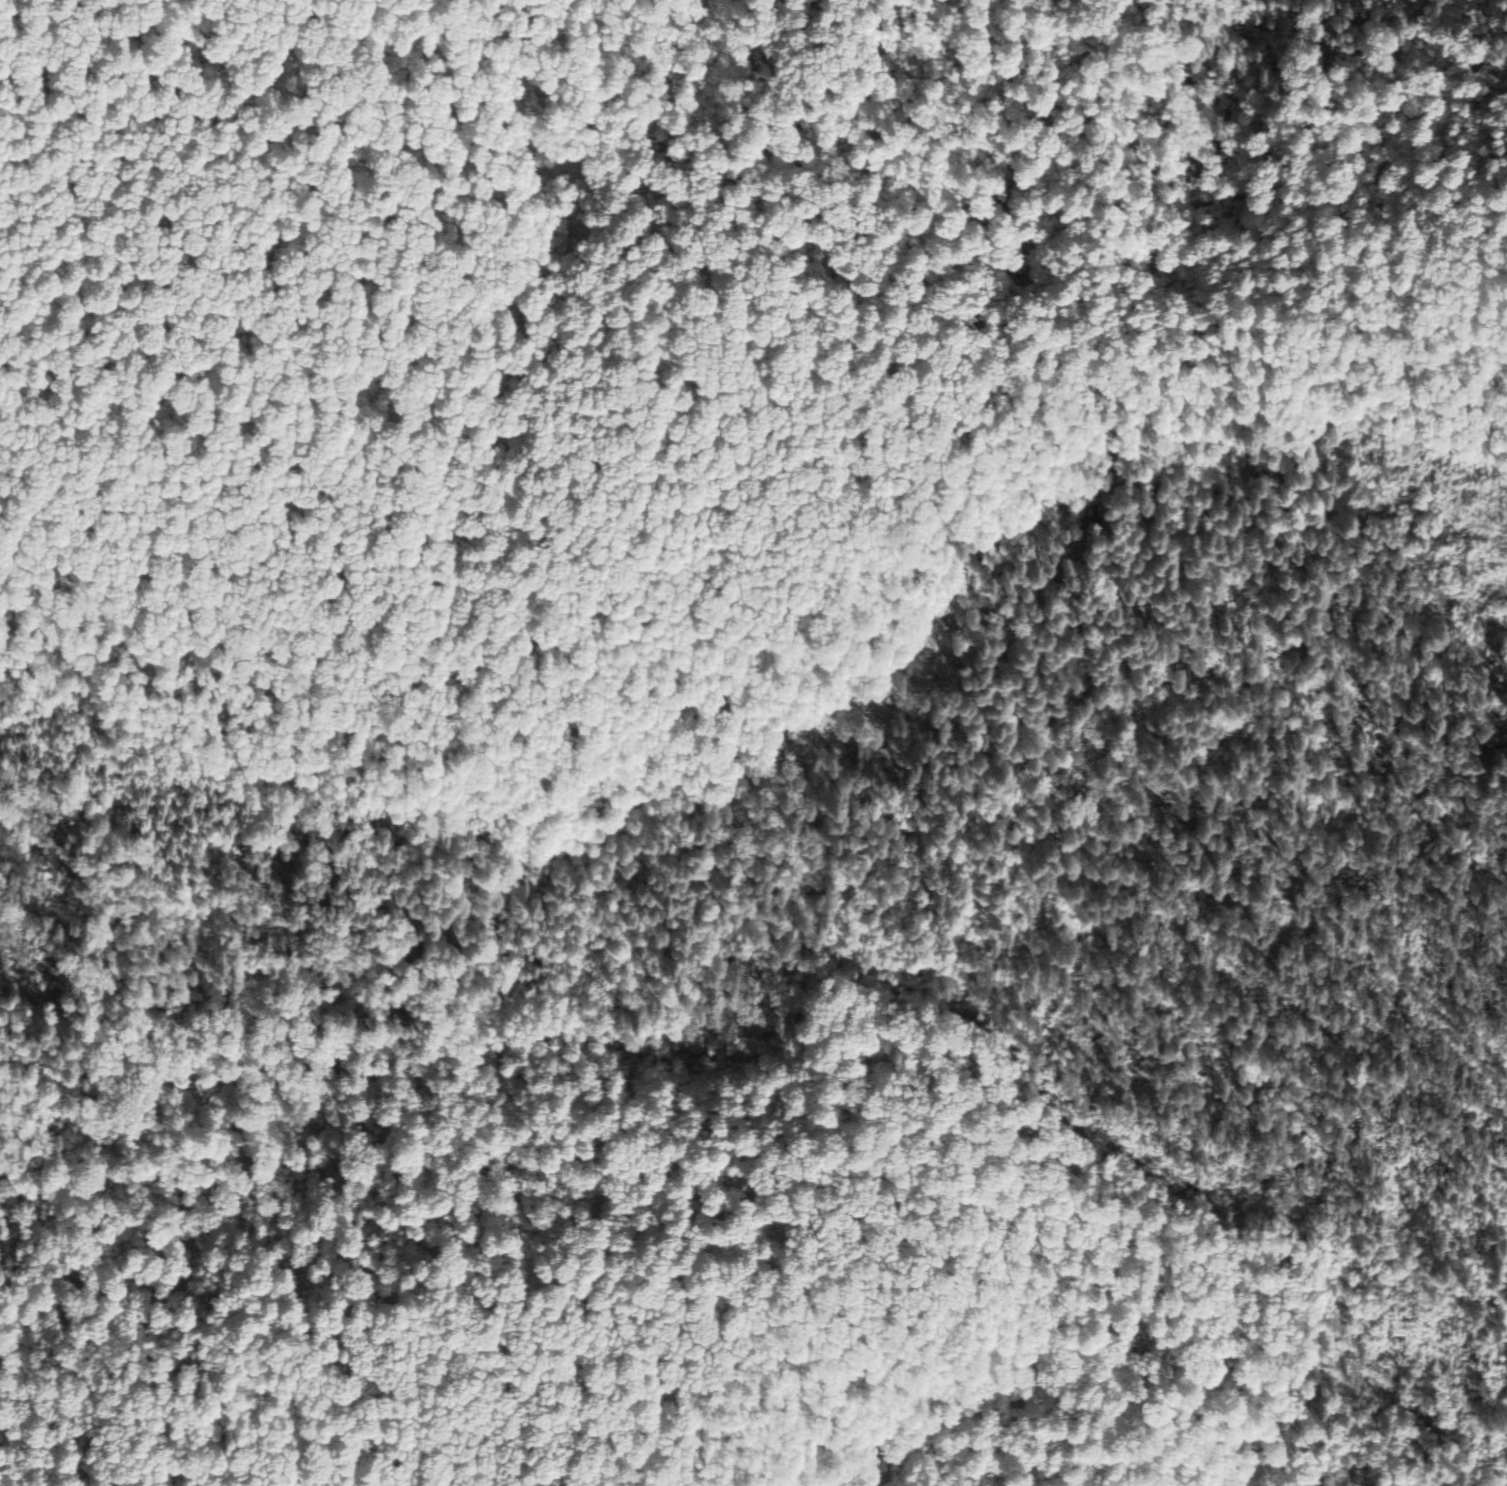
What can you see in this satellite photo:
road: (749, 508)

